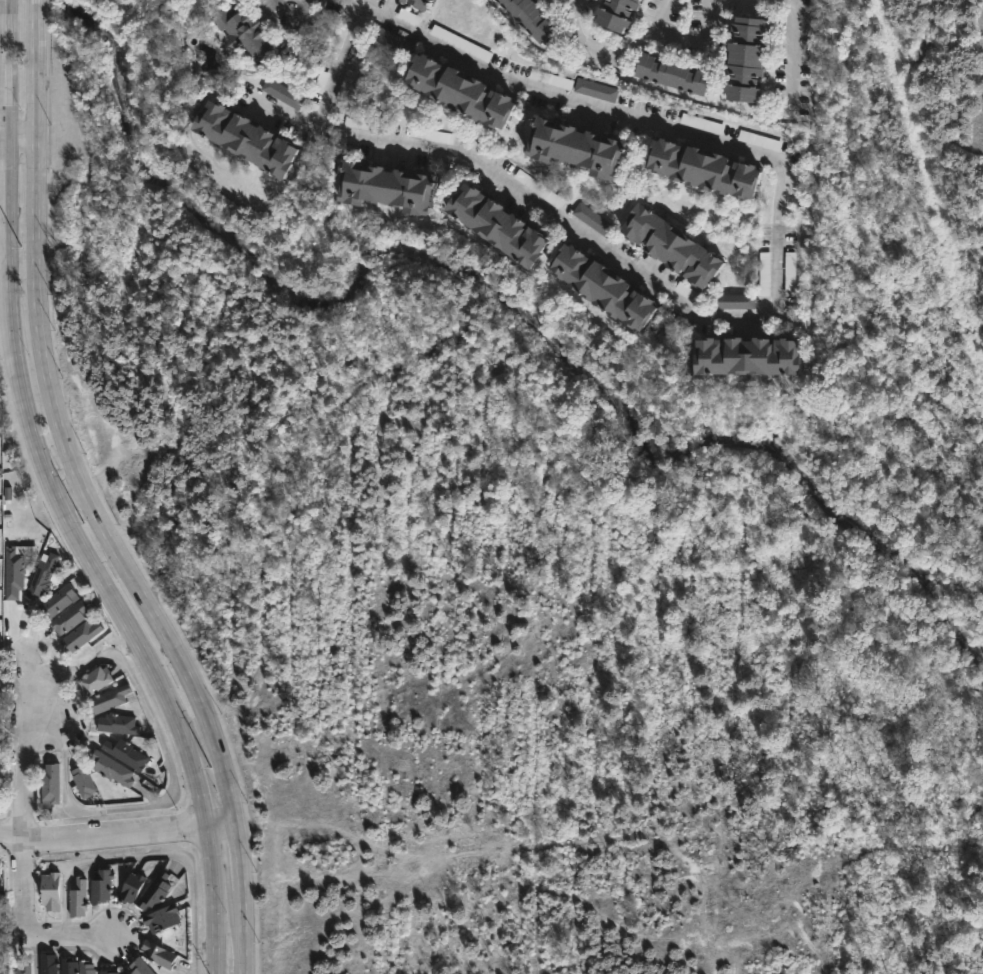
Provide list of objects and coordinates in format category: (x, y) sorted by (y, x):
building: (402, 1)
building: (420, 3)
road: (577, 3)
road: (776, 3)
road: (290, 4)
building: (617, 13)
building: (531, 19)
building: (244, 33)
building: (392, 41)
building: (461, 43)
road: (689, 49)
road: (605, 54)
road: (796, 56)
building: (745, 58)
road: (342, 72)
building: (672, 73)
building: (459, 90)
building: (595, 90)
building: (282, 92)
building: (365, 124)
road: (22, 136)
building: (241, 139)
building: (575, 145)
building: (703, 168)
building: (387, 187)
building: (593, 220)
building: (496, 225)
building: (672, 245)
building: (765, 274)
building: (790, 274)
building: (602, 286)
building: (735, 301)
road: (779, 301)
building: (745, 358)
road: (69, 494)
road: (88, 500)
road: (57, 501)
building: (13, 573)
building: (42, 575)
building: (59, 600)
building: (69, 617)
building: (79, 635)
building: (93, 680)
building: (108, 698)
building: (117, 723)
building: (125, 753)
building: (112, 767)
road: (172, 778)
building: (82, 779)
building: (49, 783)
road: (23, 799)
road: (118, 835)
building: (100, 886)
building: (130, 887)
building: (50, 891)
building: (154, 892)
building: (78, 897)
building: (162, 919)
road: (78, 941)
building: (157, 954)
road: (843, 960)
building: (46, 963)
building: (67, 966)
building: (84, 967)
building: (138, 967)
building: (21, 968)
building: (108, 972)

